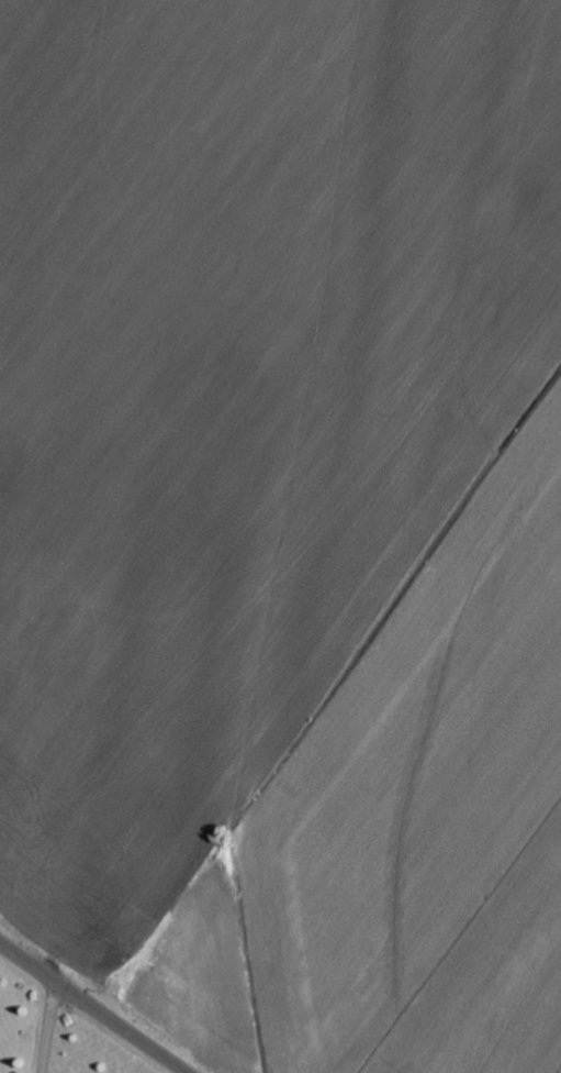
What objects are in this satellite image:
road: (92, 1007)
road: (52, 1028)

